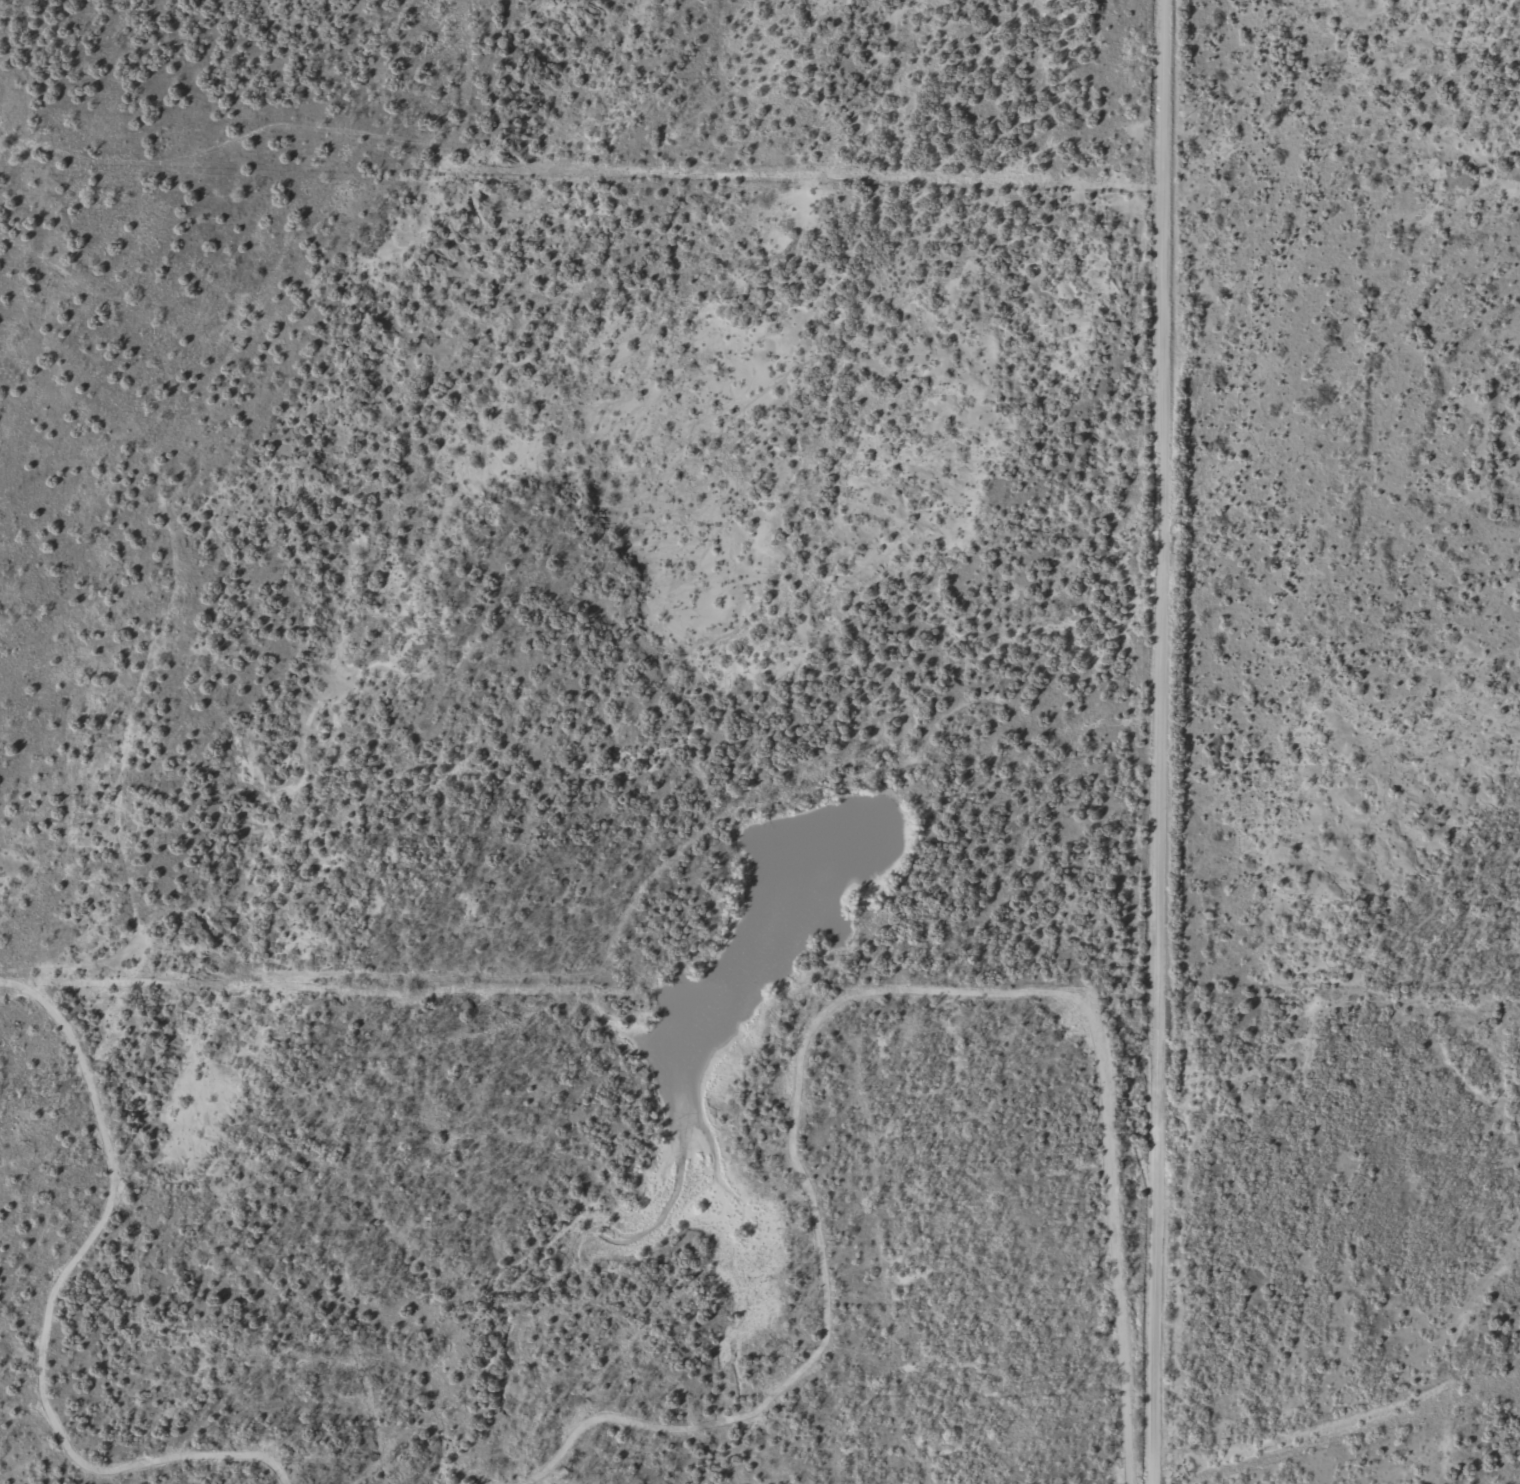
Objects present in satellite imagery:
road: (143, 417)
road: (50, 438)
road: (1164, 742)

